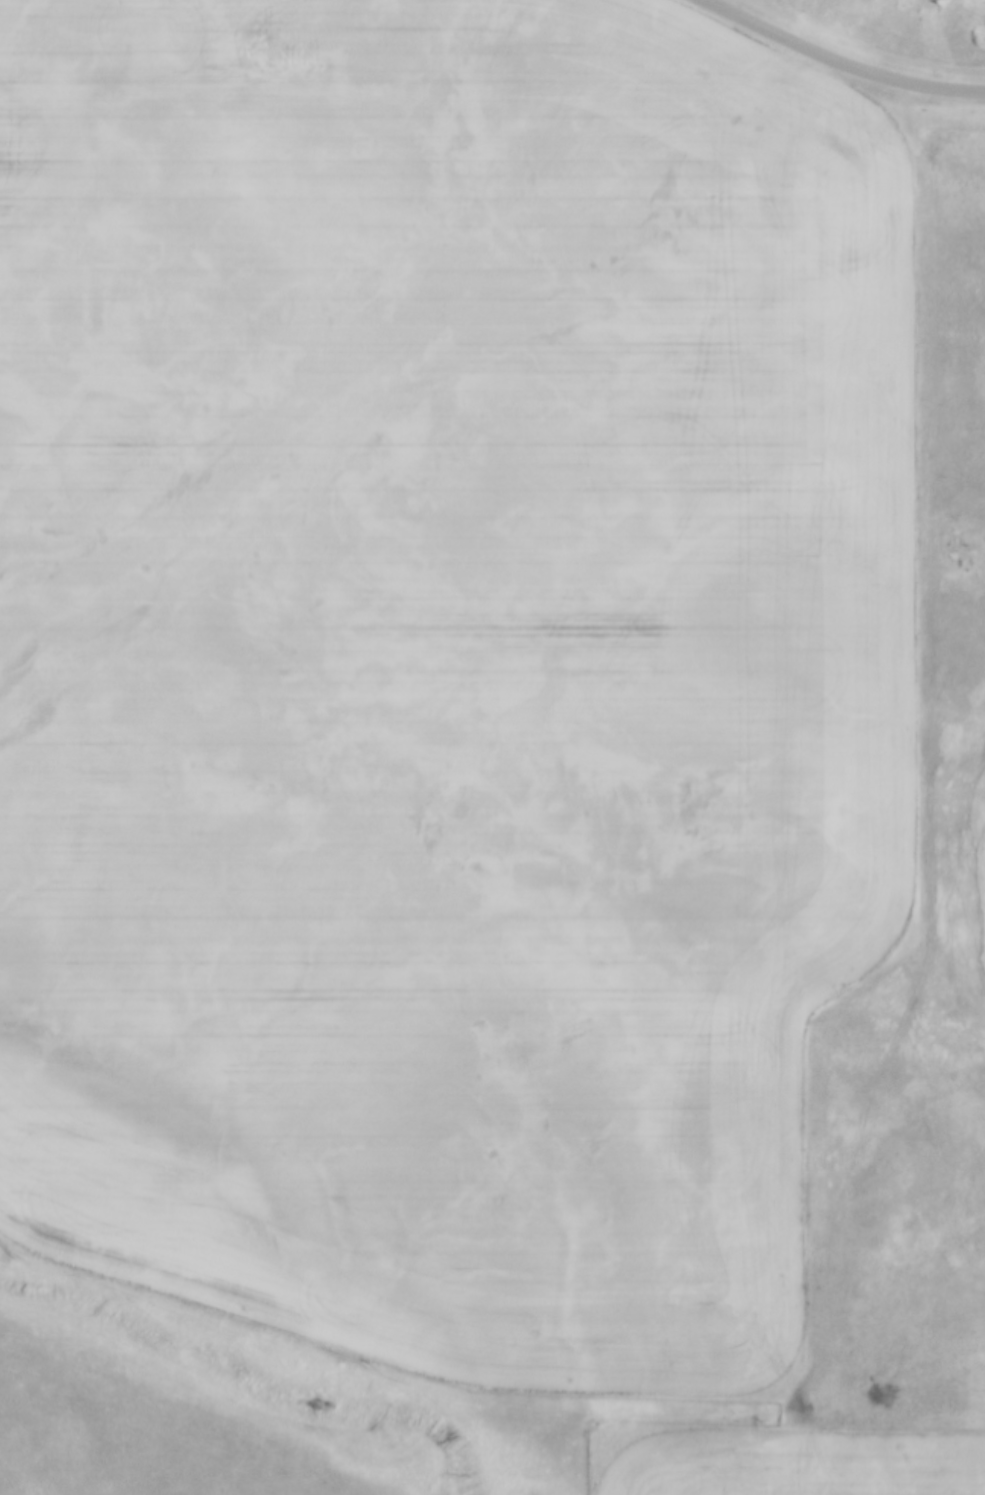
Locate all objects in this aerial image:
road: (847, 62)

